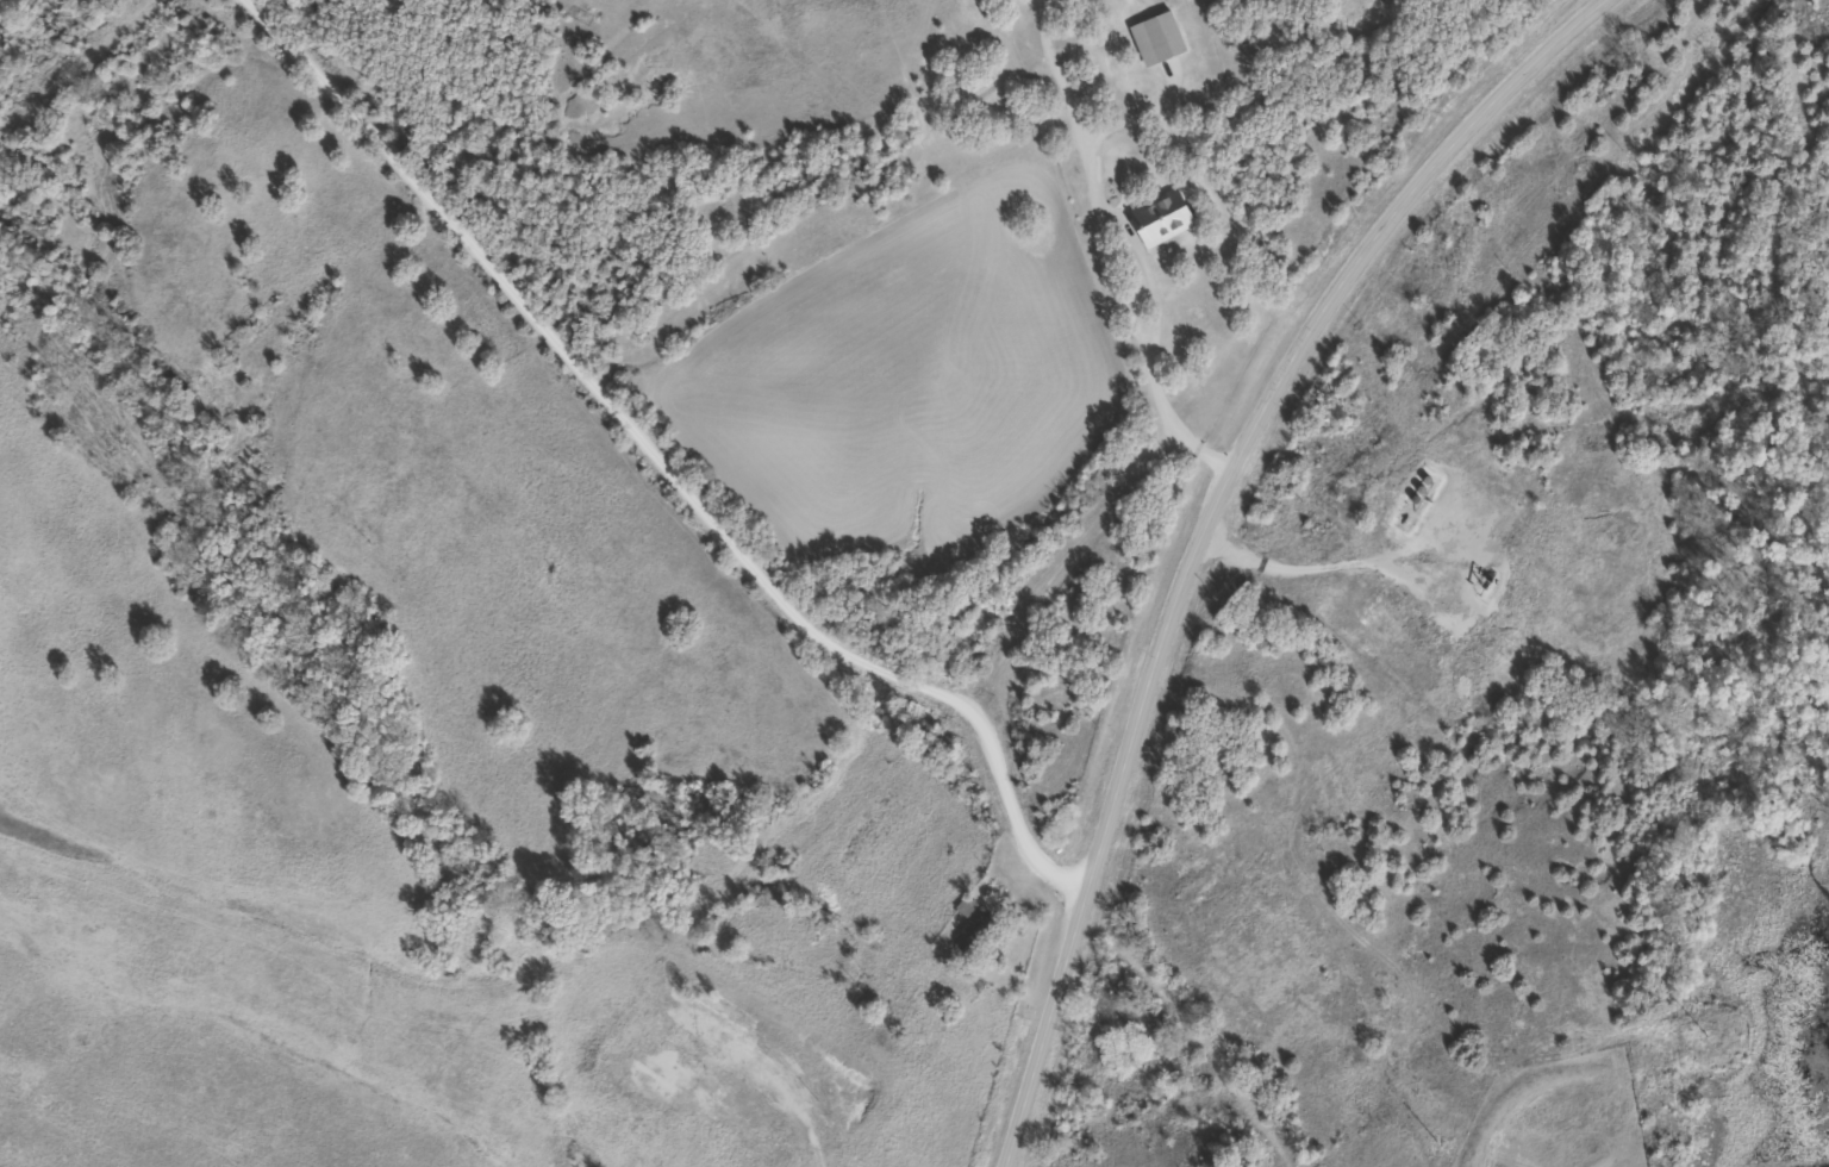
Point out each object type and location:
building: (1157, 37)
building: (1107, 64)
road: (1423, 181)
building: (1154, 219)
road: (664, 470)
road: (1352, 572)
road: (1119, 769)
building: (966, 926)
power tower: (1700, 1035)
power tower: (1436, 1144)

